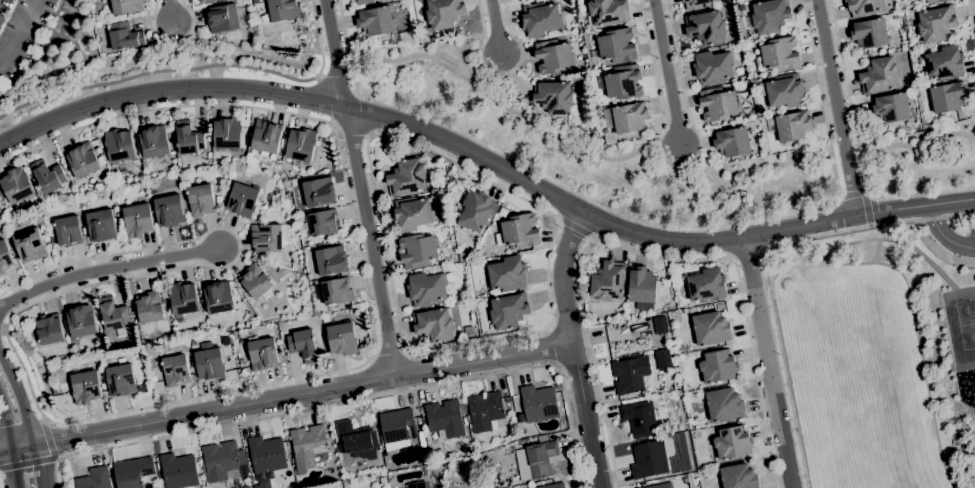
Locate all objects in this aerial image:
building: (207, 1)
building: (364, 1)
road: (498, 1)
building: (930, 1)
building: (697, 4)
building: (126, 6)
building: (864, 7)
building: (741, 8)
building: (283, 9)
road: (168, 11)
building: (444, 12)
building: (607, 12)
building: (770, 15)
building: (222, 18)
building: (540, 18)
road: (971, 18)
building: (375, 21)
building: (936, 23)
parking lot: (21, 25)
road: (496, 27)
building: (705, 27)
road: (21, 32)
building: (869, 33)
building: (125, 36)
road: (318, 40)
road: (173, 41)
road: (345, 44)
building: (616, 45)
building: (778, 55)
building: (553, 56)
building: (944, 62)
building: (713, 67)
road: (667, 71)
road: (153, 72)
road: (501, 72)
road: (655, 74)
building: (879, 76)
road: (319, 77)
building: (623, 82)
road: (682, 84)
road: (336, 86)
road: (500, 88)
road: (353, 91)
building: (783, 91)
road: (846, 94)
building: (947, 96)
building: (553, 97)
road: (822, 97)
road: (328, 100)
building: (718, 104)
building: (890, 107)
road: (836, 108)
road: (359, 113)
building: (626, 117)
road: (333, 124)
building: (790, 126)
road: (351, 127)
building: (592, 132)
building: (227, 134)
road: (433, 134)
building: (266, 136)
road: (368, 136)
building: (188, 138)
building: (610, 138)
building: (154, 141)
building: (732, 142)
building: (119, 146)
building: (301, 146)
road: (656, 148)
building: (83, 160)
building: (222, 169)
building: (48, 176)
building: (406, 177)
road: (482, 178)
building: (16, 185)
road: (359, 187)
building: (119, 188)
road: (852, 191)
building: (278, 192)
building: (319, 192)
building: (82, 193)
building: (218, 199)
building: (242, 199)
building: (201, 200)
building: (0, 207)
building: (264, 207)
road: (866, 208)
road: (915, 208)
building: (502, 210)
building: (169, 211)
building: (476, 211)
building: (412, 213)
building: (137, 219)
building: (22, 222)
building: (321, 223)
building: (101, 225)
road: (573, 227)
building: (68, 230)
building: (518, 231)
road: (943, 236)
building: (53, 238)
building: (269, 238)
building: (30, 245)
building: (290, 248)
building: (417, 250)
road: (939, 251)
road: (647, 254)
building: (5, 257)
building: (465, 257)
building: (331, 260)
road: (763, 264)
road: (109, 268)
building: (280, 271)
building: (507, 273)
building: (256, 281)
building: (607, 284)
building: (706, 285)
building: (426, 288)
building: (642, 288)
building: (336, 291)
building: (218, 297)
building: (183, 298)
park: (818, 305)
building: (149, 306)
building: (508, 311)
building: (113, 315)
building: (81, 320)
park: (966, 322)
building: (434, 324)
building: (659, 324)
building: (710, 328)
building: (49, 329)
building: (468, 331)
building: (342, 338)
building: (303, 345)
road: (551, 346)
road: (572, 348)
building: (151, 352)
building: (262, 353)
road: (389, 355)
building: (241, 362)
building: (210, 363)
road: (766, 363)
building: (718, 366)
building: (175, 370)
building: (629, 374)
building: (153, 378)
building: (121, 380)
building: (85, 387)
building: (56, 389)
road: (285, 395)
park: (860, 396)
road: (19, 399)
road: (187, 399)
road: (353, 401)
building: (538, 403)
building: (724, 405)
building: (485, 410)
building: (446, 418)
building: (639, 418)
building: (395, 428)
building: (419, 436)
building: (354, 437)
road: (49, 438)
road: (9, 442)
building: (732, 442)
building: (337, 444)
building: (307, 446)
building: (266, 456)
building: (649, 459)
building: (222, 460)
building: (535, 460)
road: (29, 463)
road: (40, 465)
building: (178, 471)
building: (133, 472)
building: (382, 477)
building: (738, 477)
building: (94, 478)
building: (416, 485)
building: (551, 486)
building: (660, 486)
building: (245, 487)

